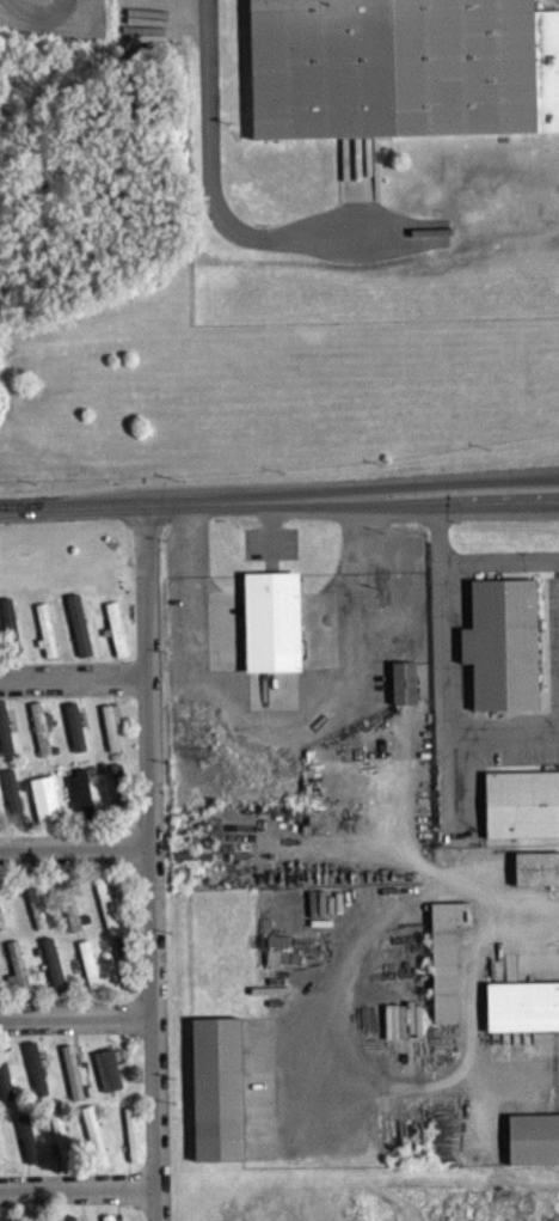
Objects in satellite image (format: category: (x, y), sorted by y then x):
building: (403, 67)
parking lot: (210, 133)
road: (278, 499)
road: (499, 561)
building: (275, 633)
building: (12, 634)
building: (48, 642)
building: (82, 642)
building: (117, 642)
building: (502, 642)
road: (442, 666)
road: (75, 672)
building: (406, 694)
road: (270, 720)
building: (113, 738)
building: (78, 739)
building: (44, 740)
building: (6, 741)
building: (122, 795)
building: (521, 802)
building: (16, 806)
building: (84, 807)
building: (48, 811)
road: (76, 843)
road: (153, 860)
building: (537, 880)
building: (107, 914)
building: (39, 915)
building: (72, 917)
building: (5, 922)
building: (124, 961)
building: (448, 970)
building: (91, 976)
building: (56, 977)
building: (19, 982)
road: (78, 1008)
building: (523, 1018)
building: (38, 1080)
building: (110, 1081)
building: (75, 1083)
building: (8, 1086)
building: (220, 1100)
building: (135, 1146)
building: (97, 1148)
building: (30, 1150)
building: (63, 1150)
building: (535, 1150)
building: (1, 1162)
road: (79, 1172)

